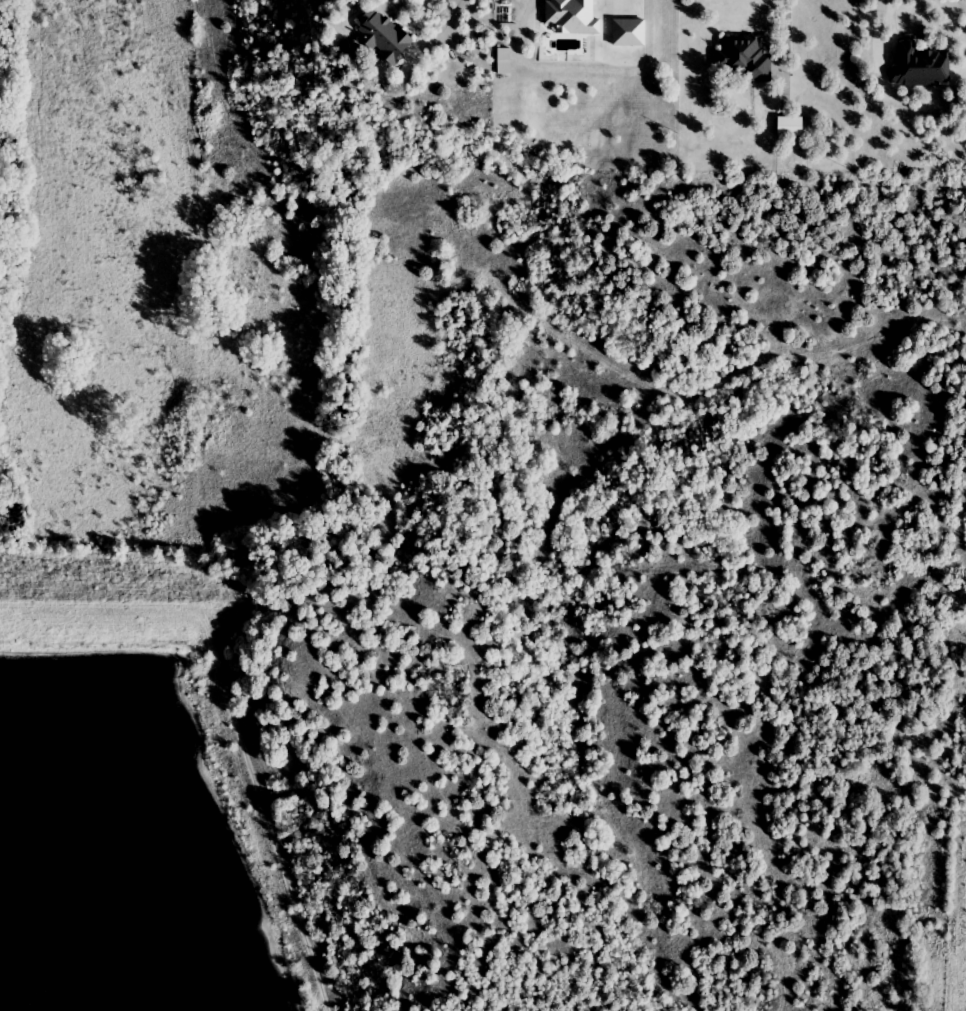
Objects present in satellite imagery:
road: (451, 22)
building: (392, 37)
building: (746, 58)
building: (921, 67)
building: (791, 127)
road: (274, 686)

